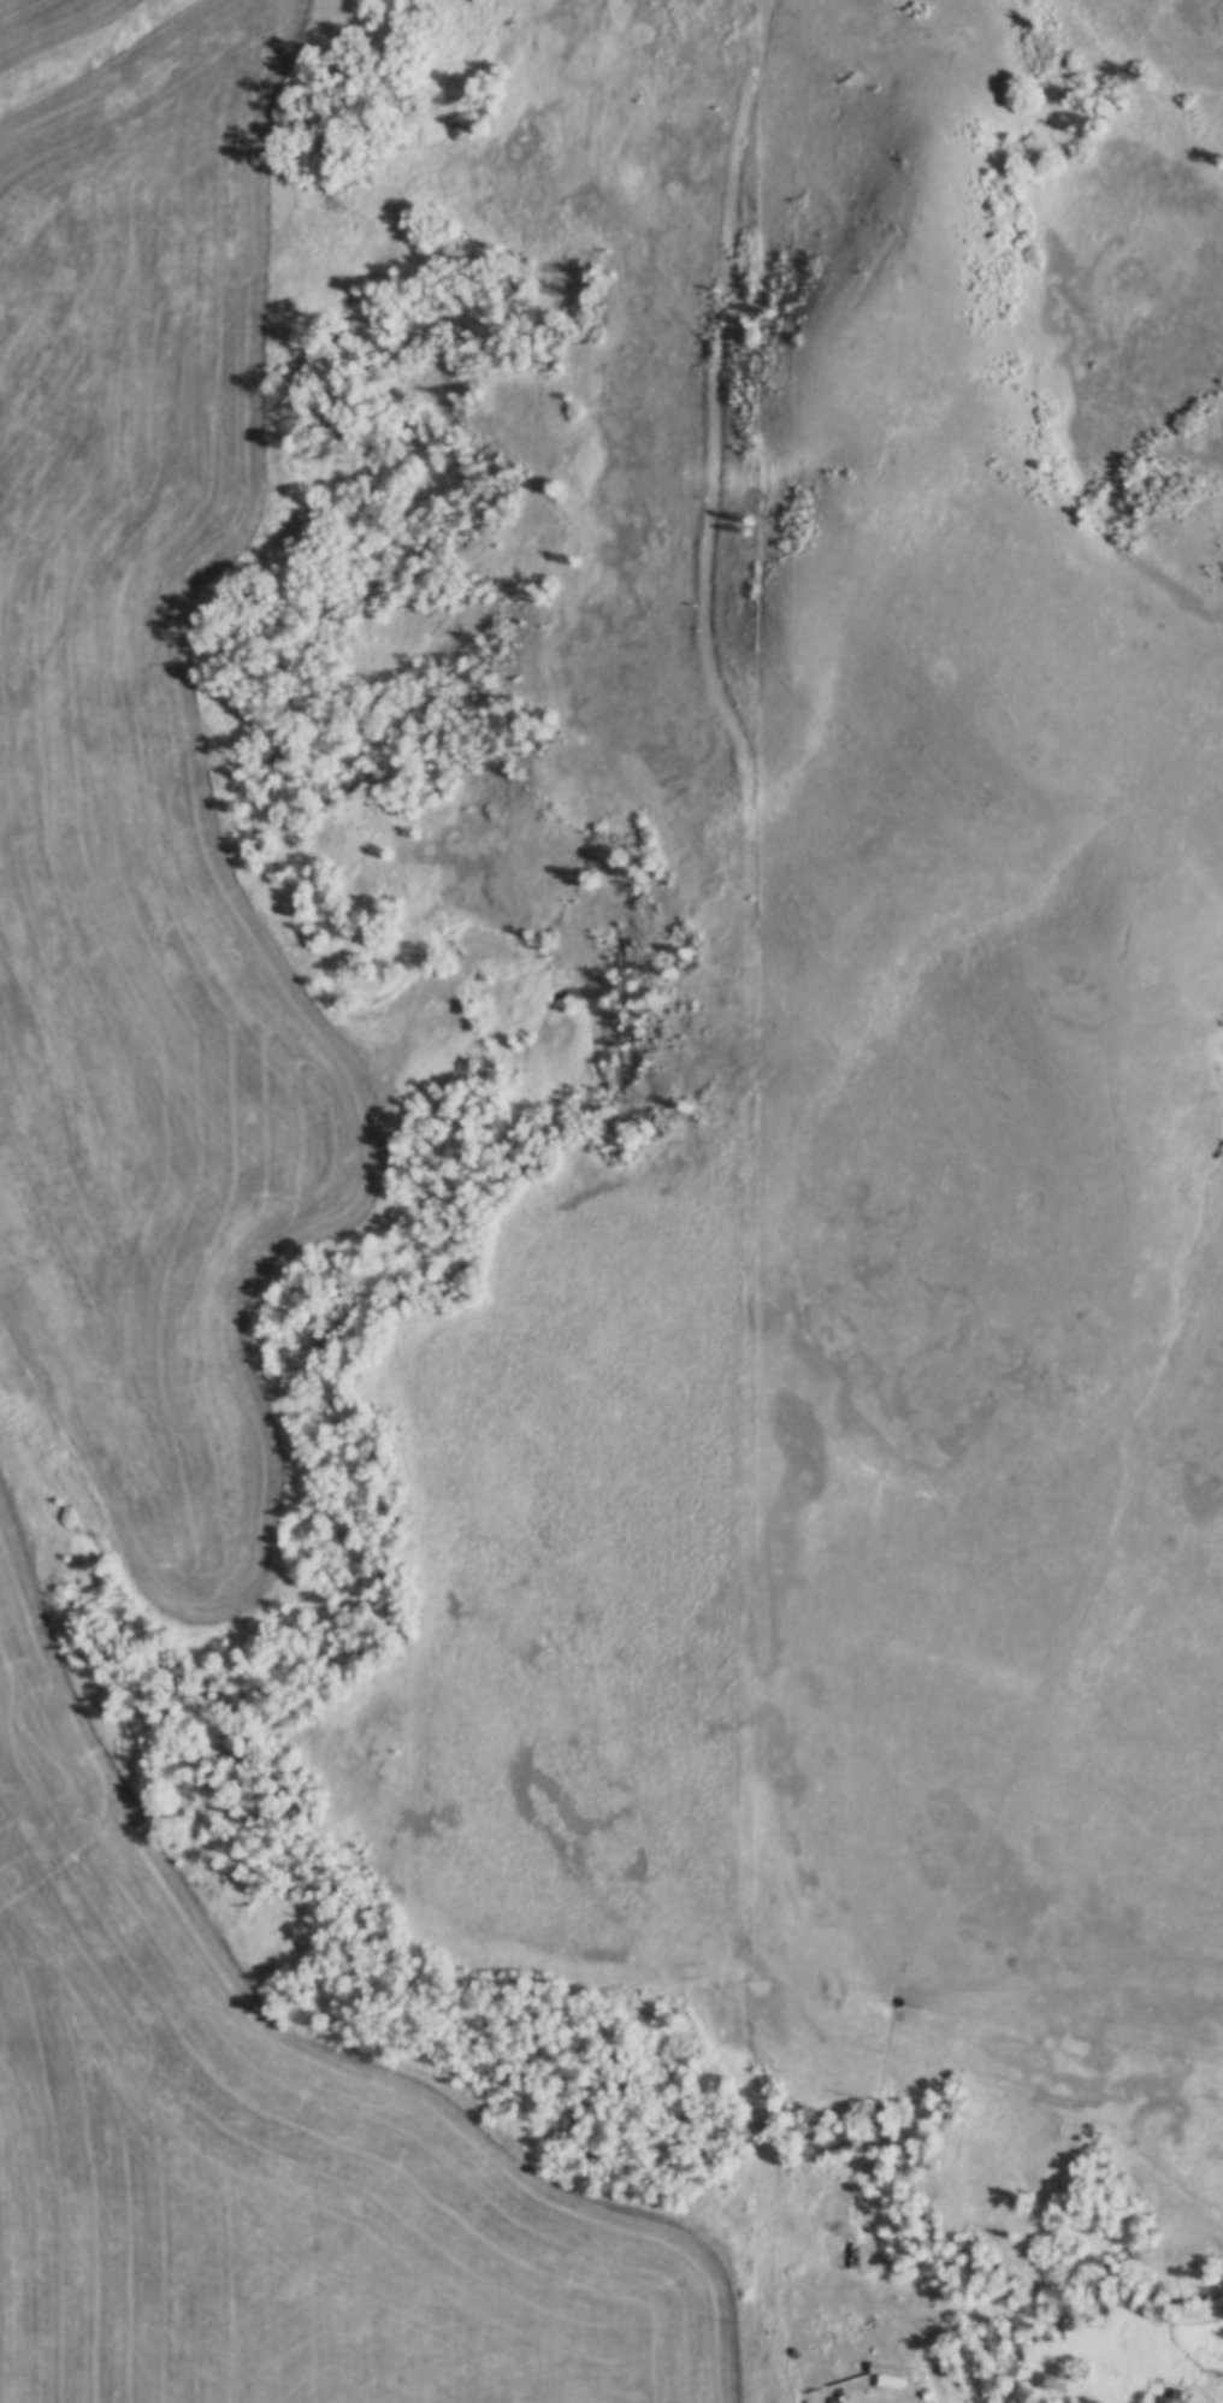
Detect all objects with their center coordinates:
building: (1165, 2399)

